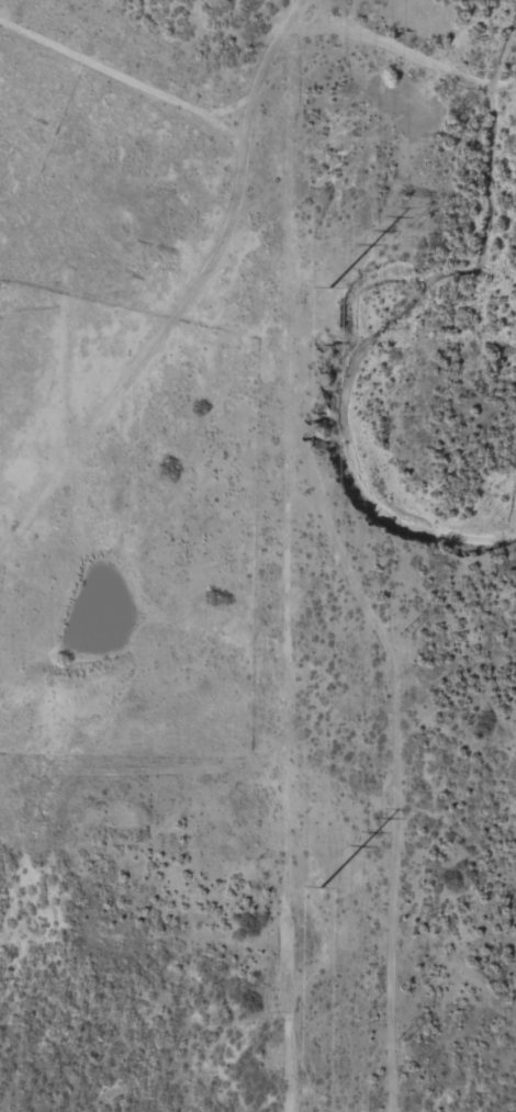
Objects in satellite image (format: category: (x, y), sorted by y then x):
road: (109, 71)
road: (206, 193)
power tower: (411, 225)
power tower: (330, 288)
power tower: (407, 636)
power tower: (322, 888)
power tower: (399, 1038)

